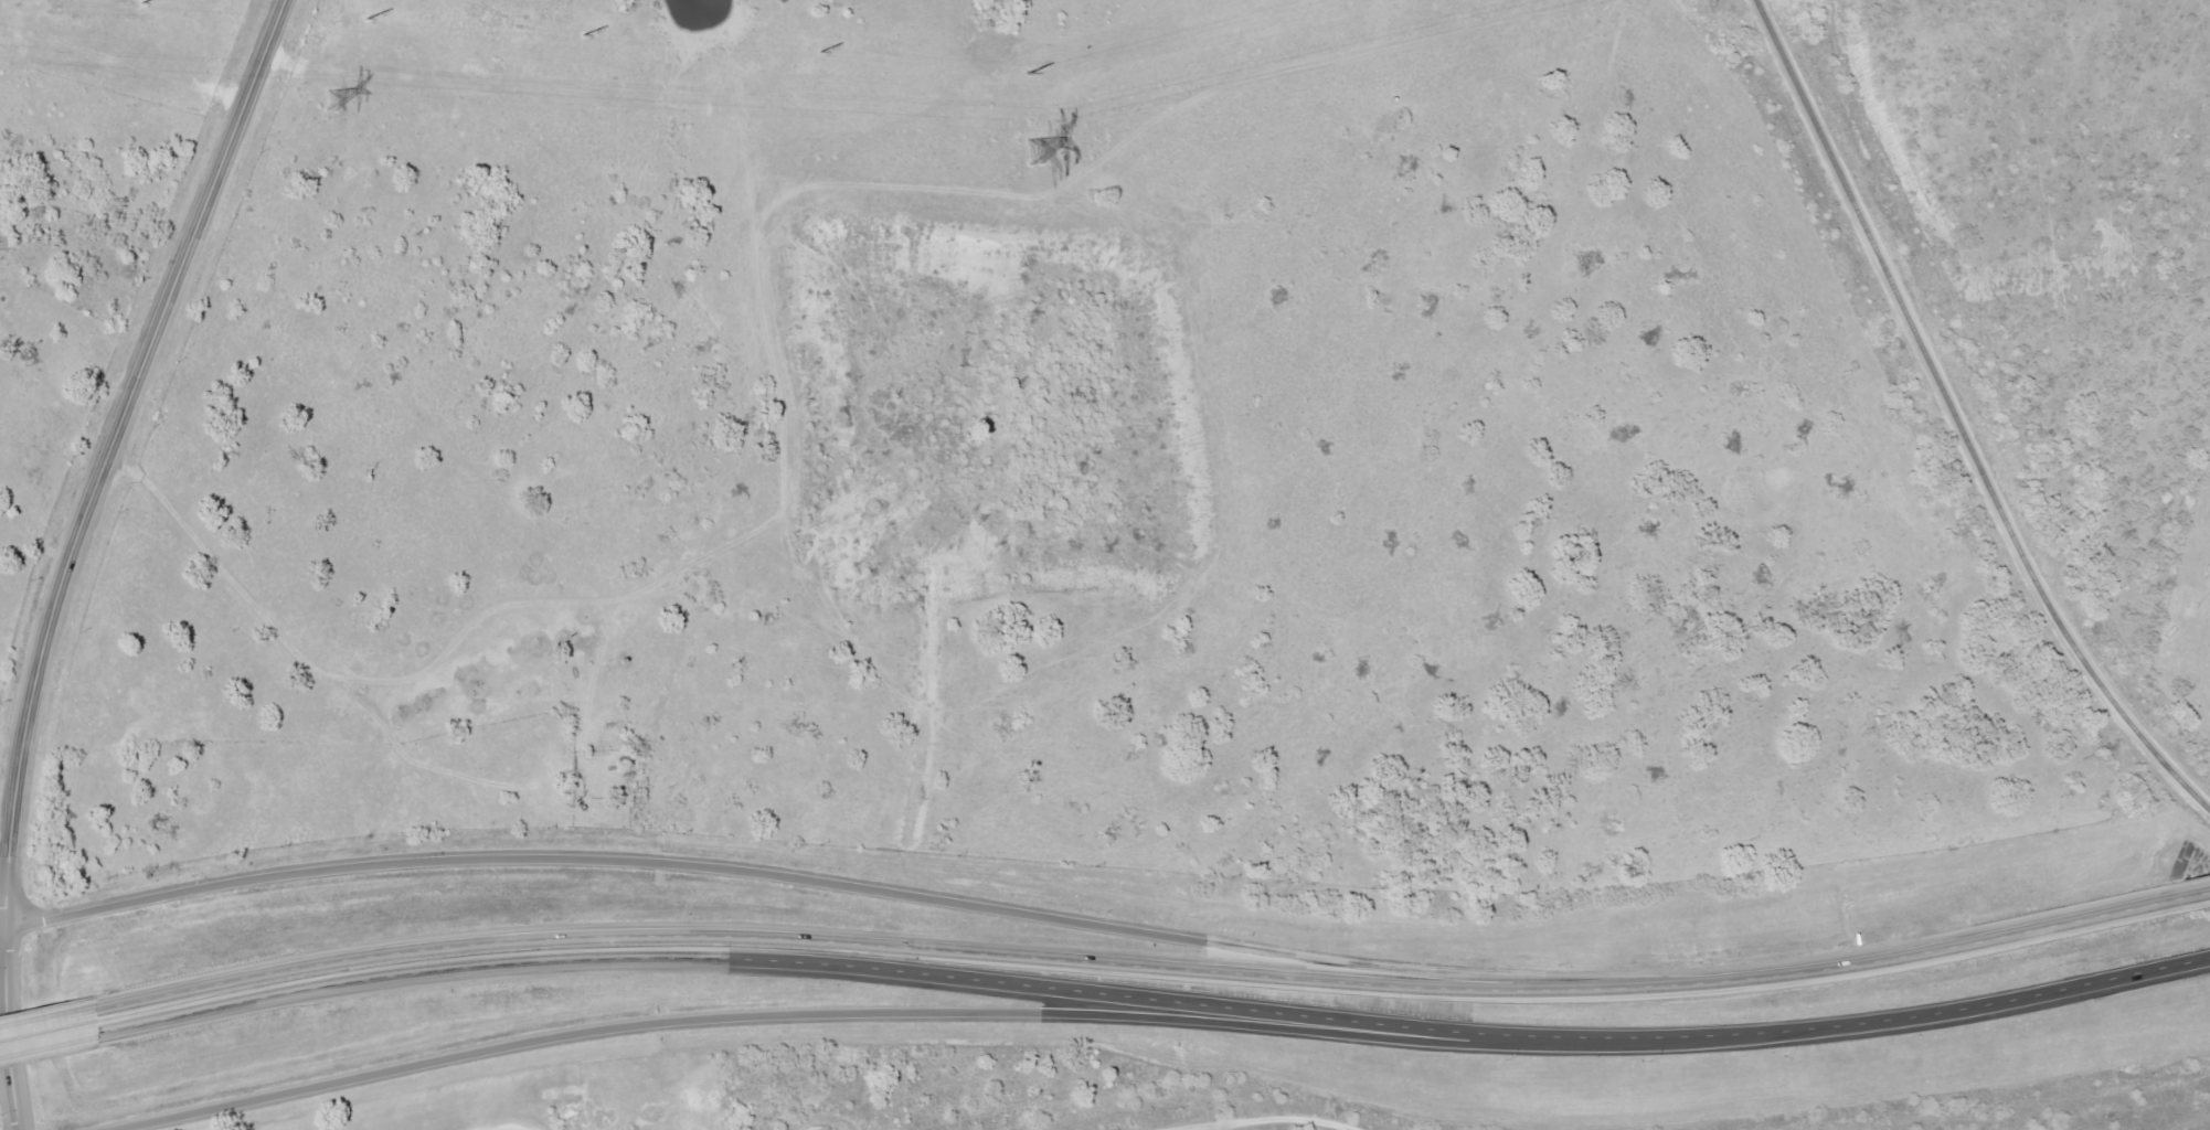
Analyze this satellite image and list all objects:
power tower: (332, 99)
power tower: (1032, 152)
railway: (1958, 419)
road: (113, 455)
road: (6, 878)
road: (857, 887)
road: (2206, 895)
road: (4, 927)
road: (1150, 968)
road: (1152, 1001)
road: (879, 1013)
road: (49, 1021)
road: (10, 1028)
road: (49, 1044)
road: (512, 1128)

